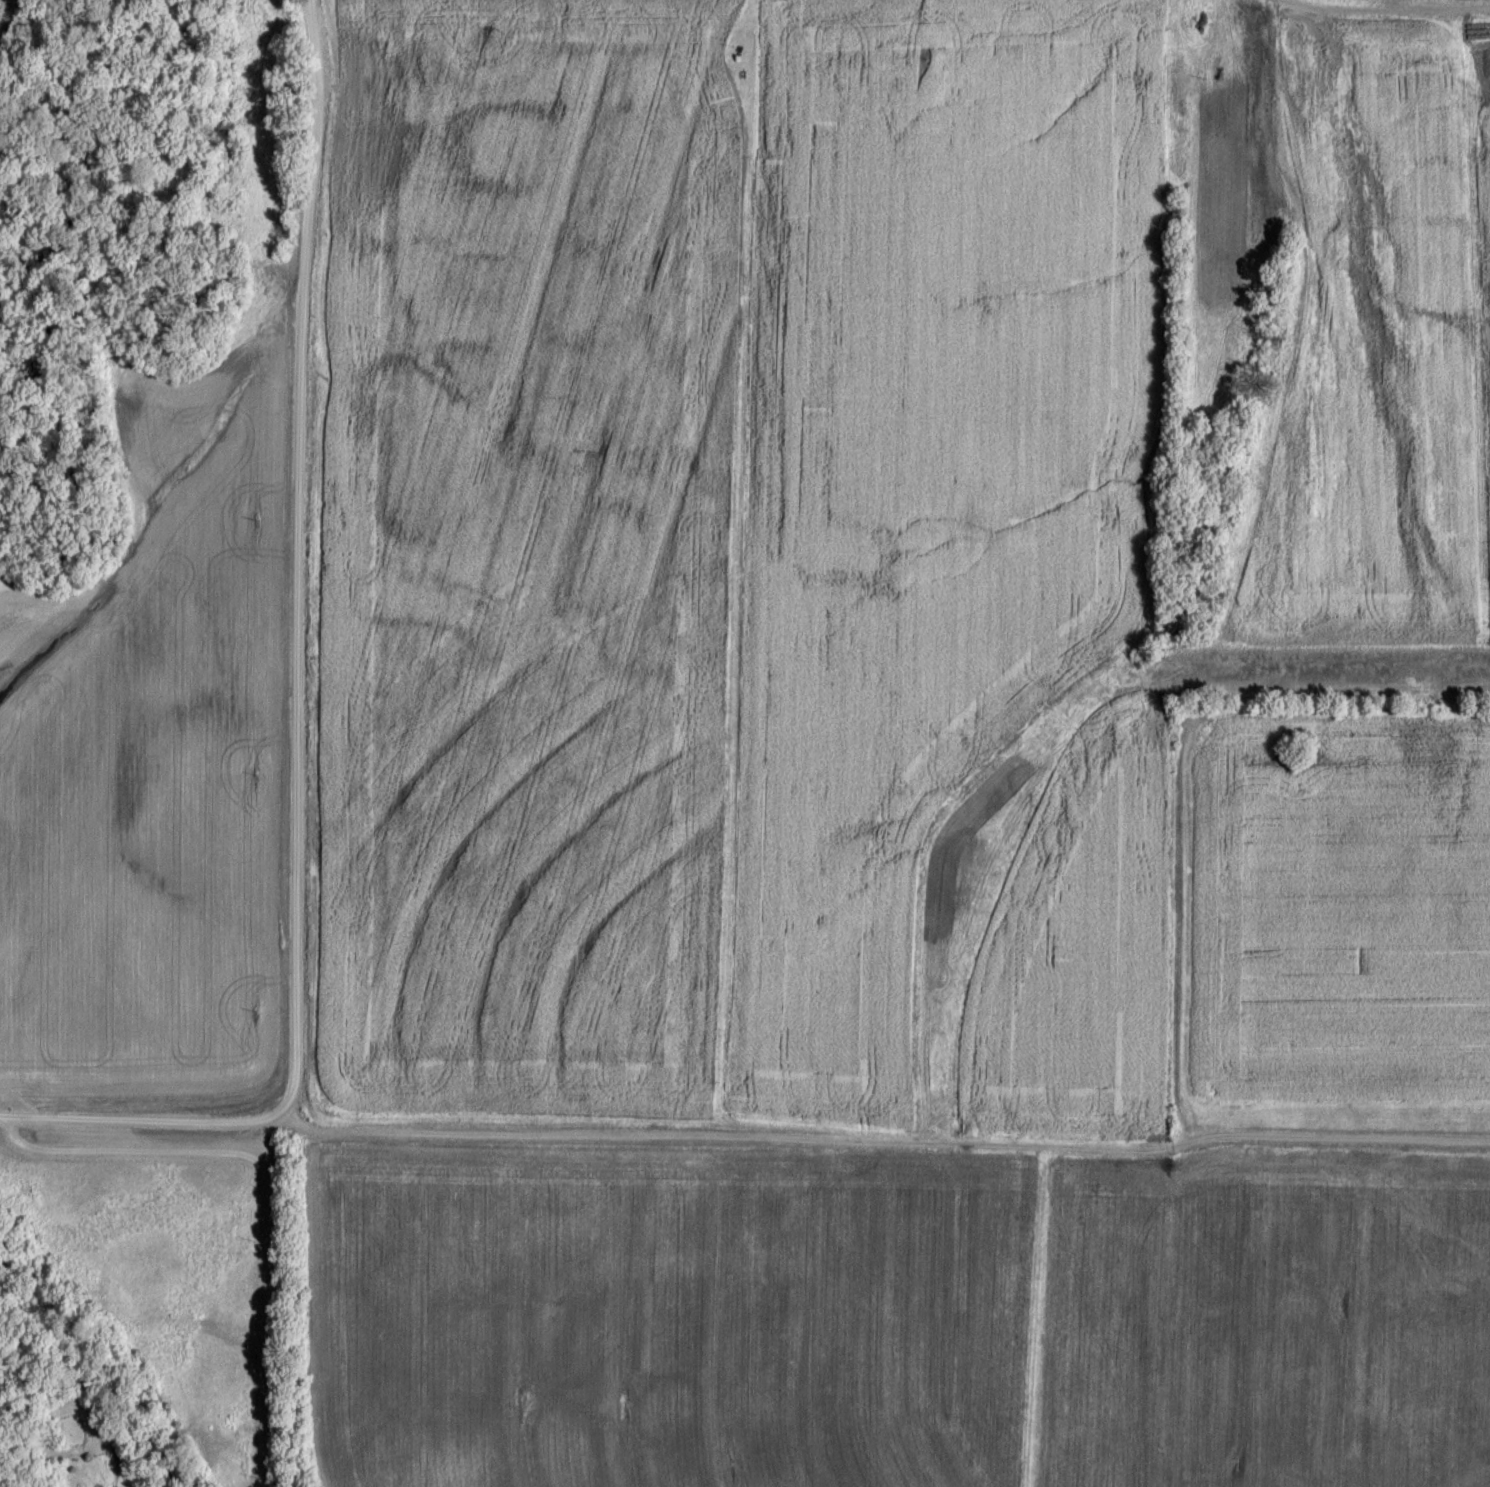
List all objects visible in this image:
road: (1379, 10)
road: (298, 561)
road: (744, 1140)
road: (264, 1187)

